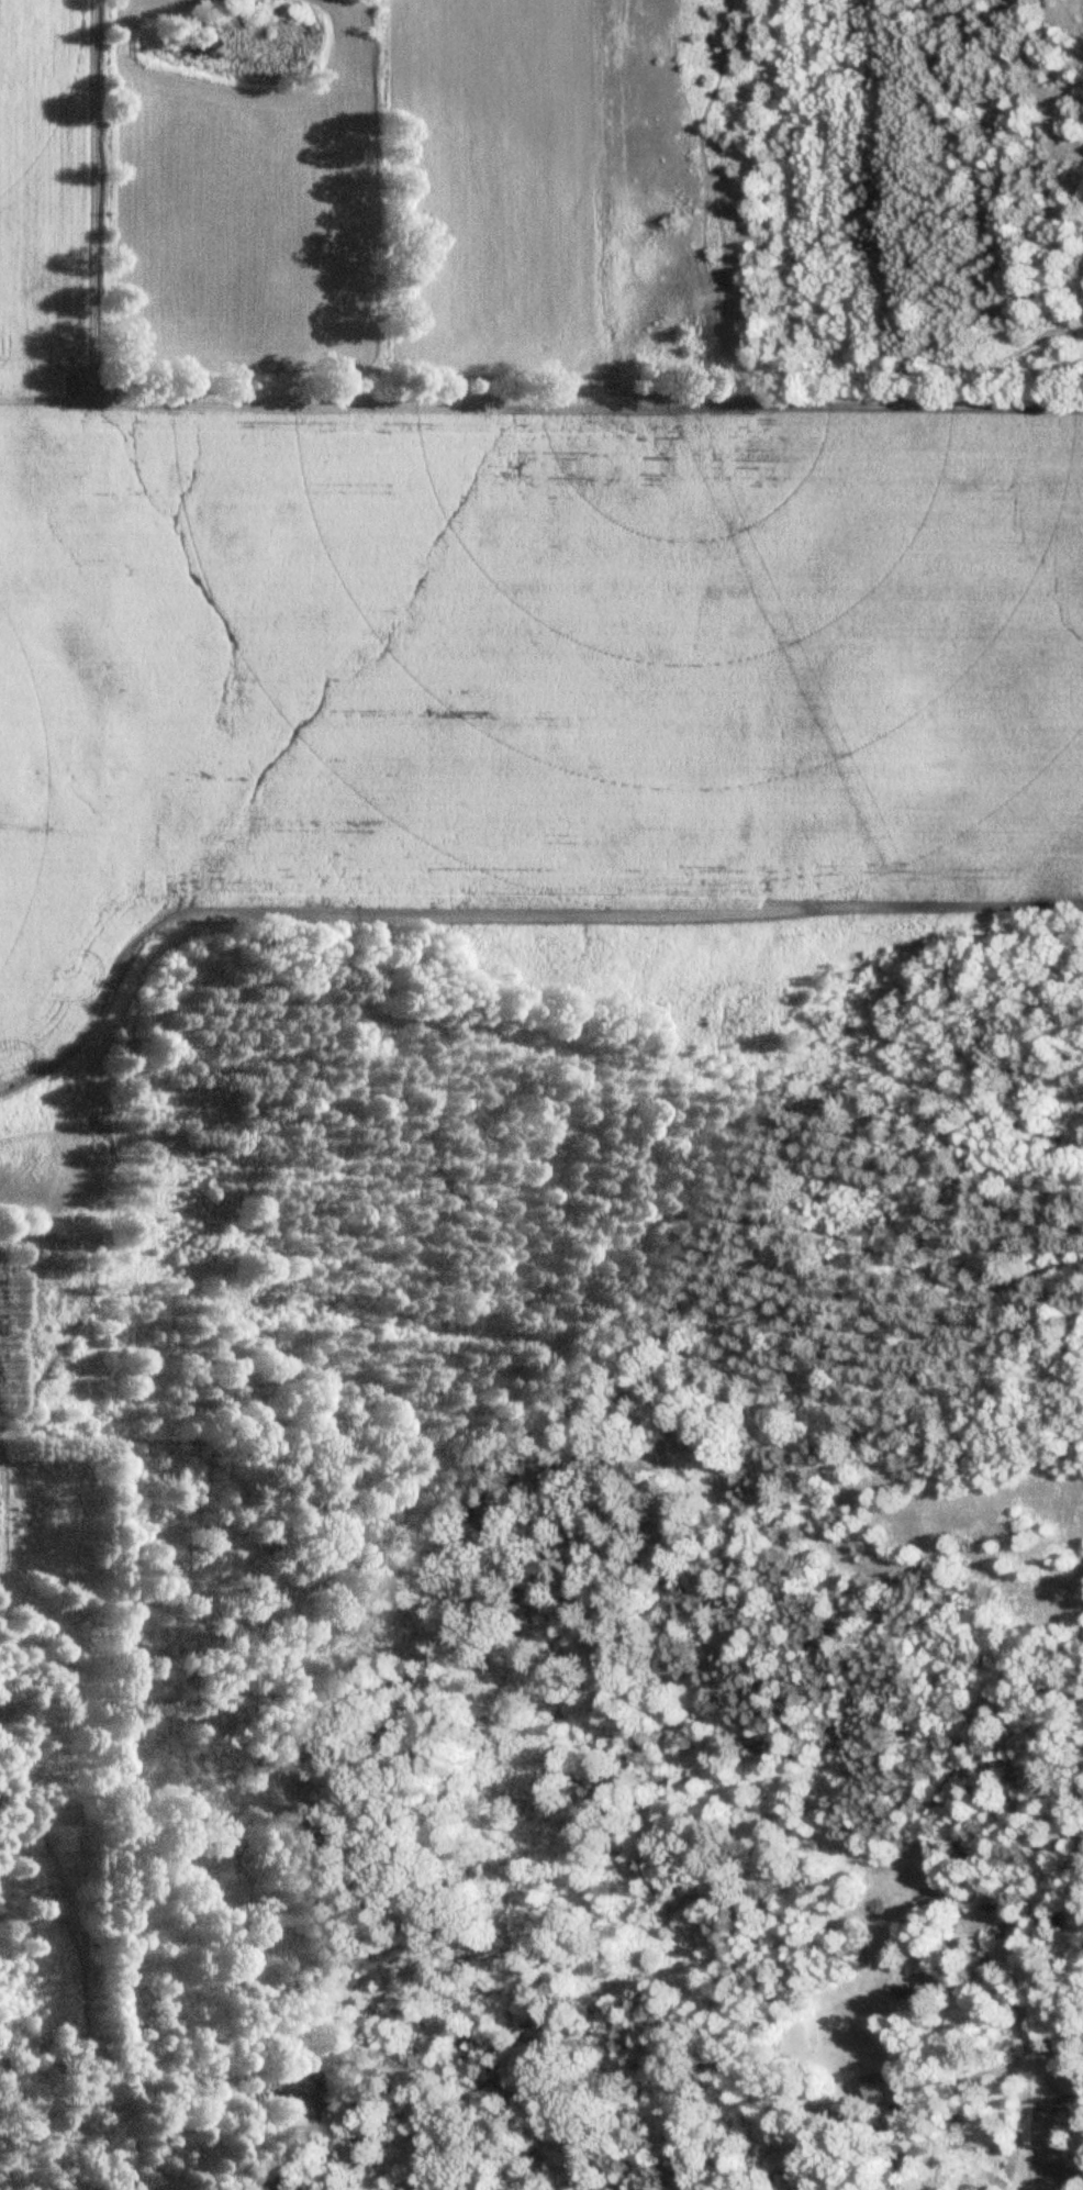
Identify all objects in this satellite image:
building: (874, 2086)
building: (1058, 2108)
road: (867, 2160)

